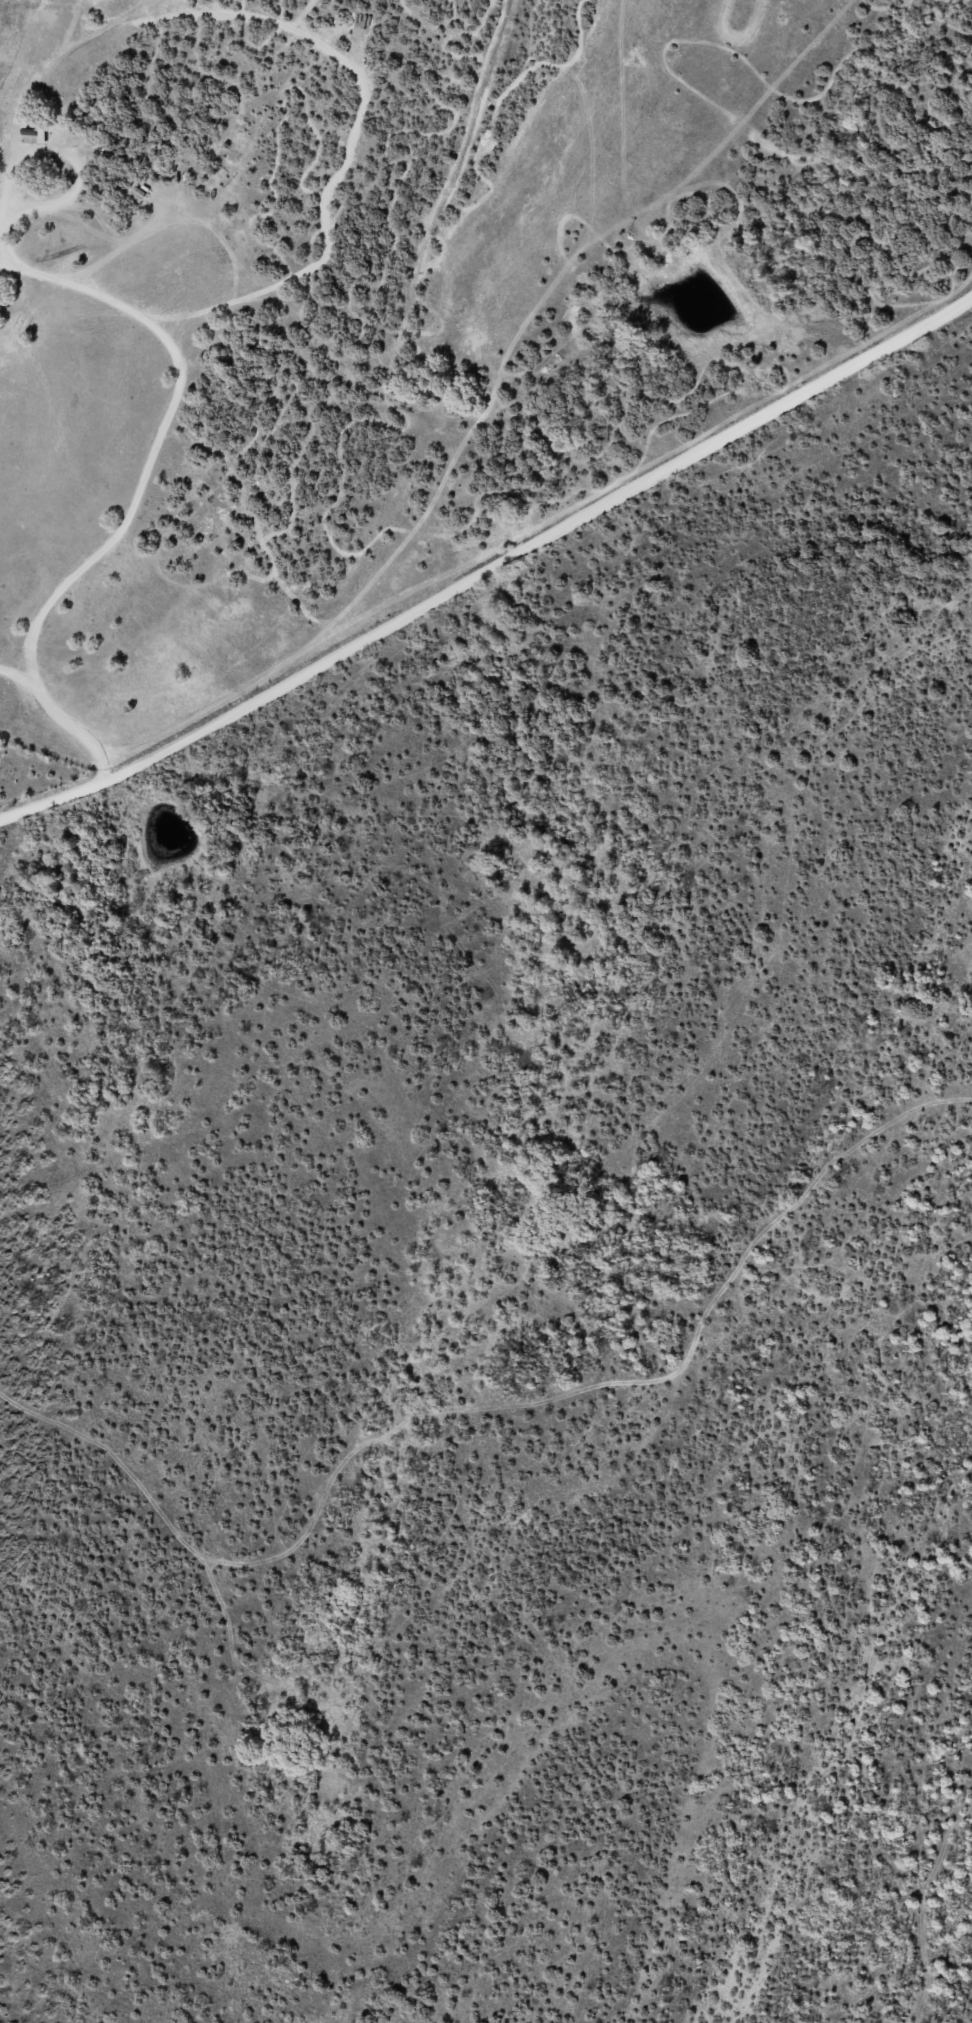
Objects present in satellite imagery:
building: (27, 138)
road: (488, 544)

